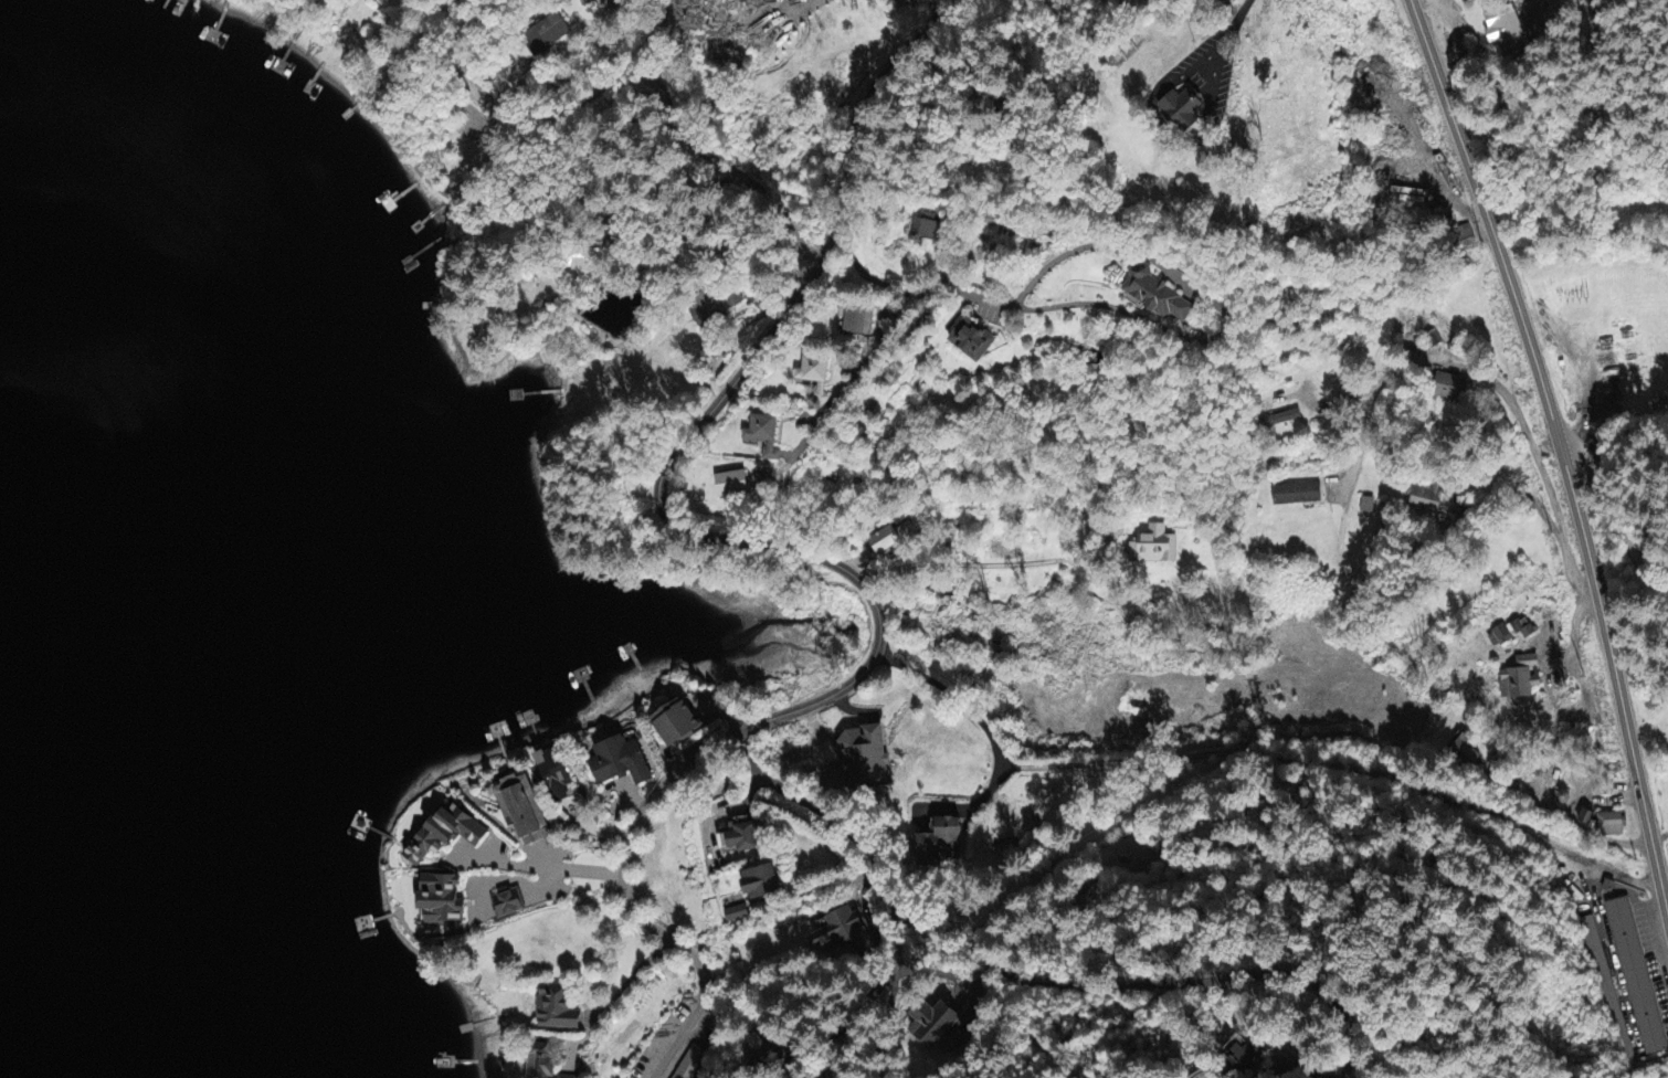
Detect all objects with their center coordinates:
building: (585, 1)
building: (1225, 1)
building: (1500, 28)
building: (549, 34)
road: (1227, 36)
road: (631, 75)
building: (1176, 105)
road: (858, 125)
park: (1187, 189)
building: (927, 228)
building: (1466, 237)
building: (1158, 297)
building: (715, 305)
road: (1018, 308)
building: (972, 341)
building: (815, 378)
building: (1447, 389)
building: (1282, 421)
road: (1550, 431)
building: (764, 438)
road: (1558, 452)
building: (732, 486)
building: (1297, 496)
building: (1427, 499)
road: (1613, 512)
building: (891, 539)
building: (1154, 549)
road: (872, 601)
building: (1513, 634)
building: (1522, 679)
building: (676, 726)
building: (1465, 754)
building: (864, 757)
road: (1024, 759)
building: (620, 763)
building: (521, 811)
building: (1587, 820)
building: (1612, 827)
building: (445, 835)
building: (741, 838)
building: (942, 839)
building: (761, 885)
building: (441, 902)
building: (507, 906)
building: (737, 916)
road: (941, 928)
building: (841, 931)
building: (1600, 966)
road: (1243, 979)
building: (1637, 979)
building: (557, 1011)
building: (935, 1026)
road: (886, 1028)
river: (30, 1051)
building: (1244, 1058)
building: (1628, 1063)

